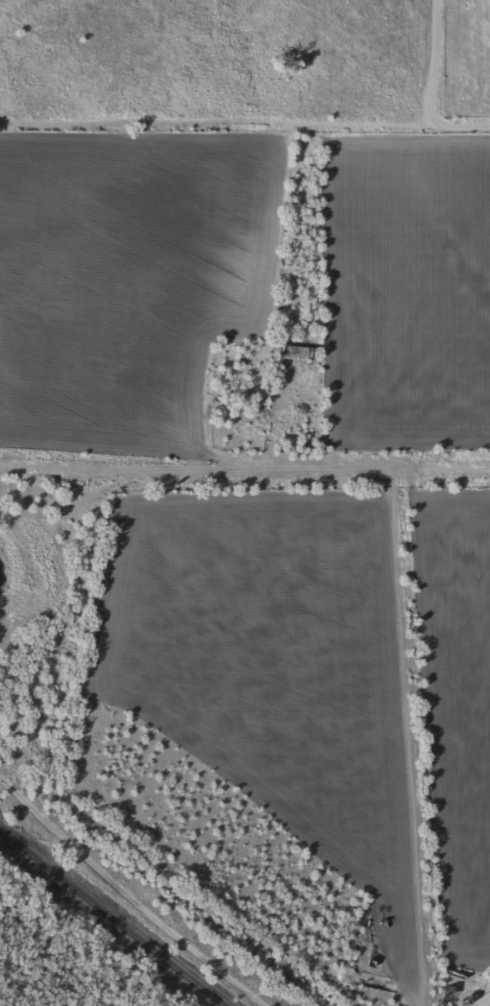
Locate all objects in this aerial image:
building: (282, 350)
road: (129, 898)
railway: (108, 923)

